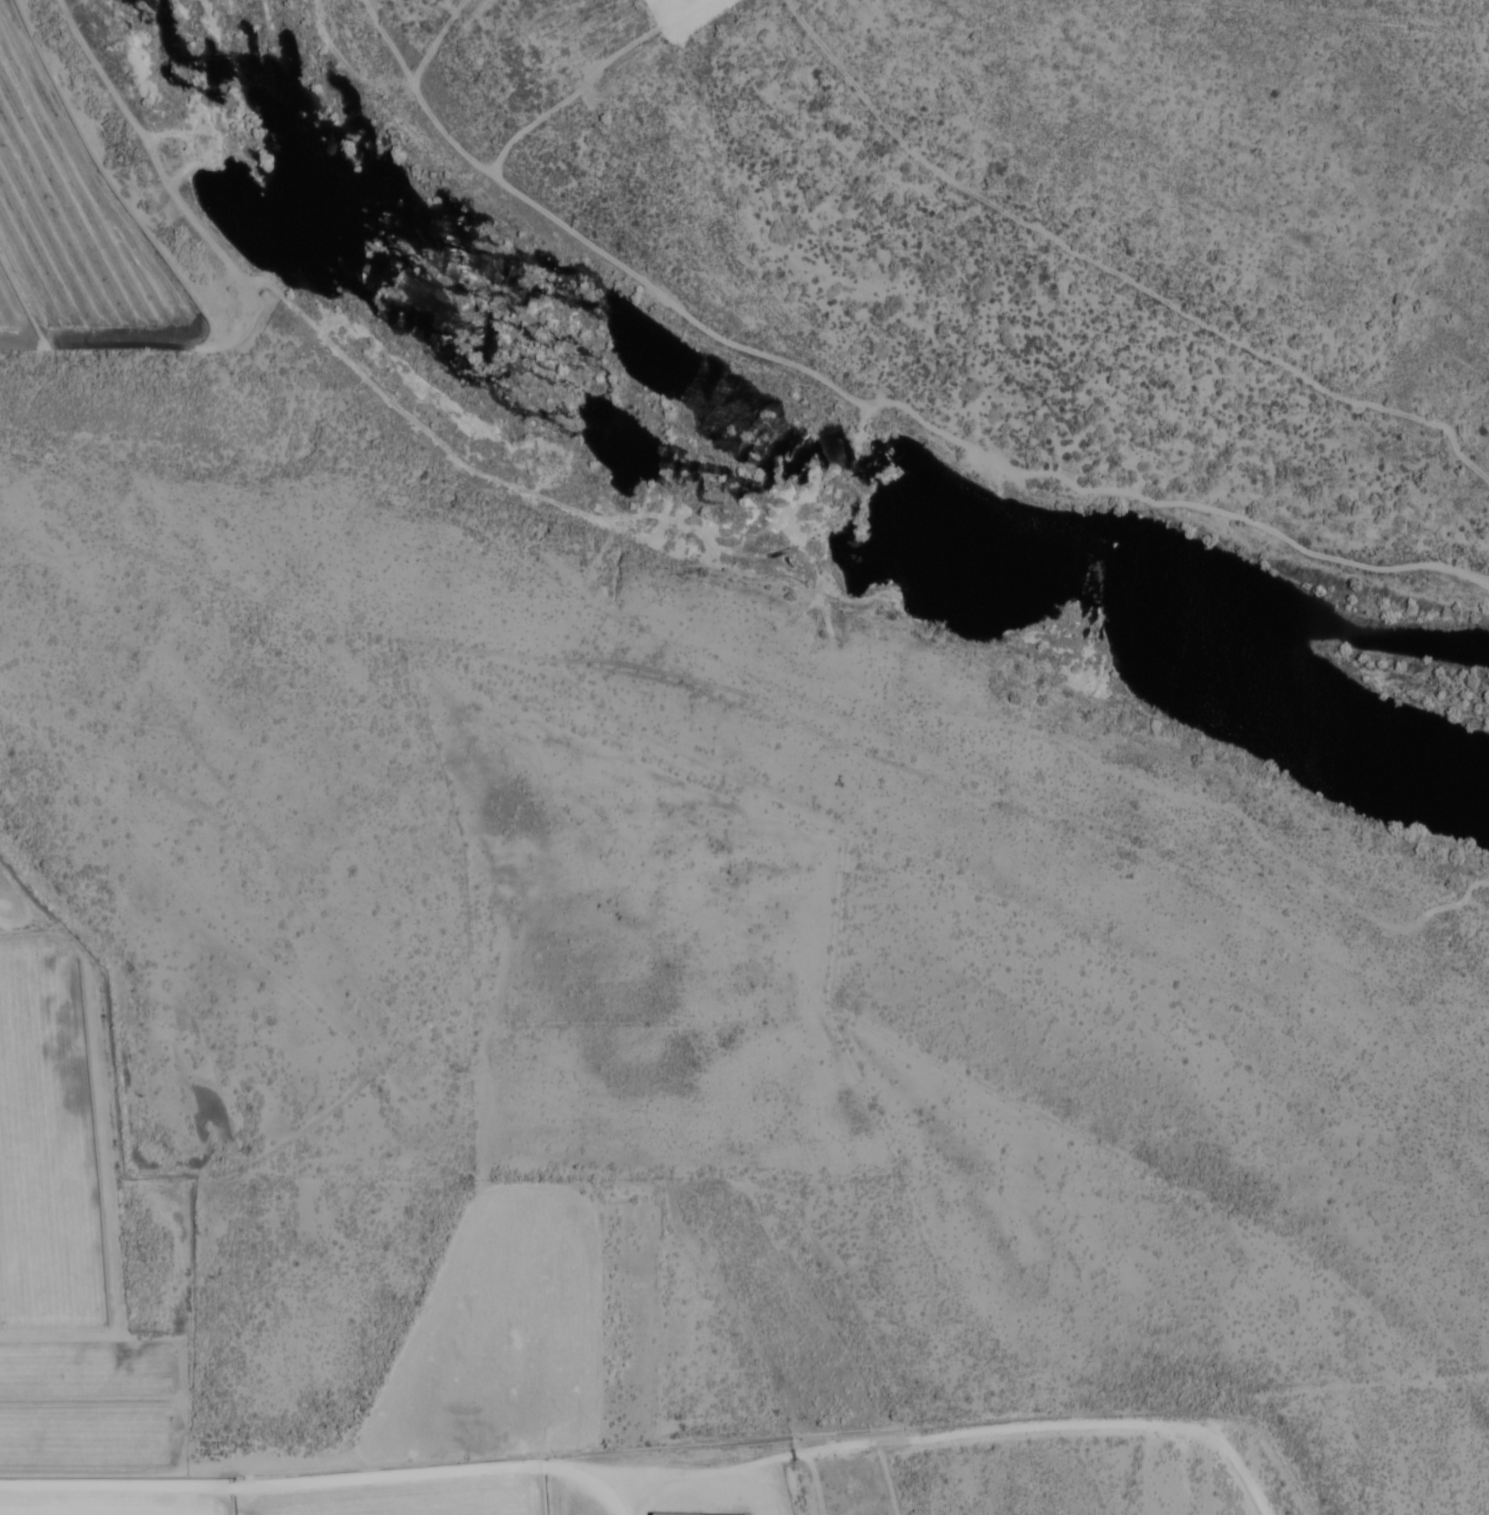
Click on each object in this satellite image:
road: (390, 39)
road: (1112, 271)
road: (249, 313)
road: (157, 347)
road: (864, 400)
river: (762, 466)
road: (795, 548)
road: (535, 657)
road: (574, 1467)
building: (686, 1514)

